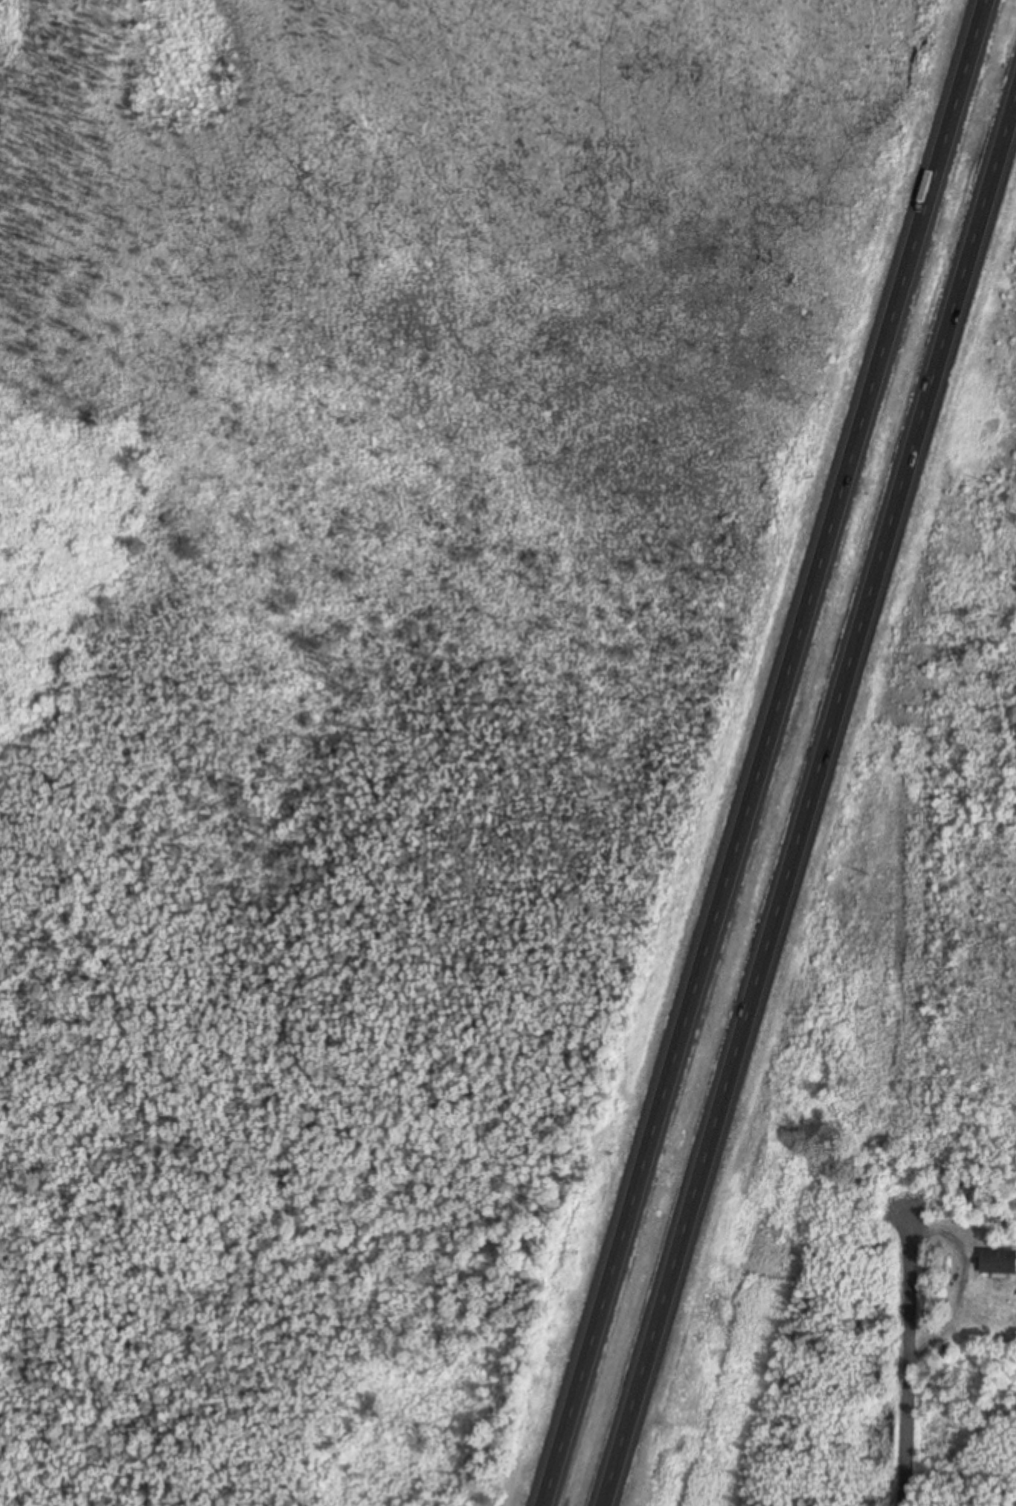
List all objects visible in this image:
road: (760, 752)
road: (810, 803)
building: (999, 1263)
road: (908, 1351)

